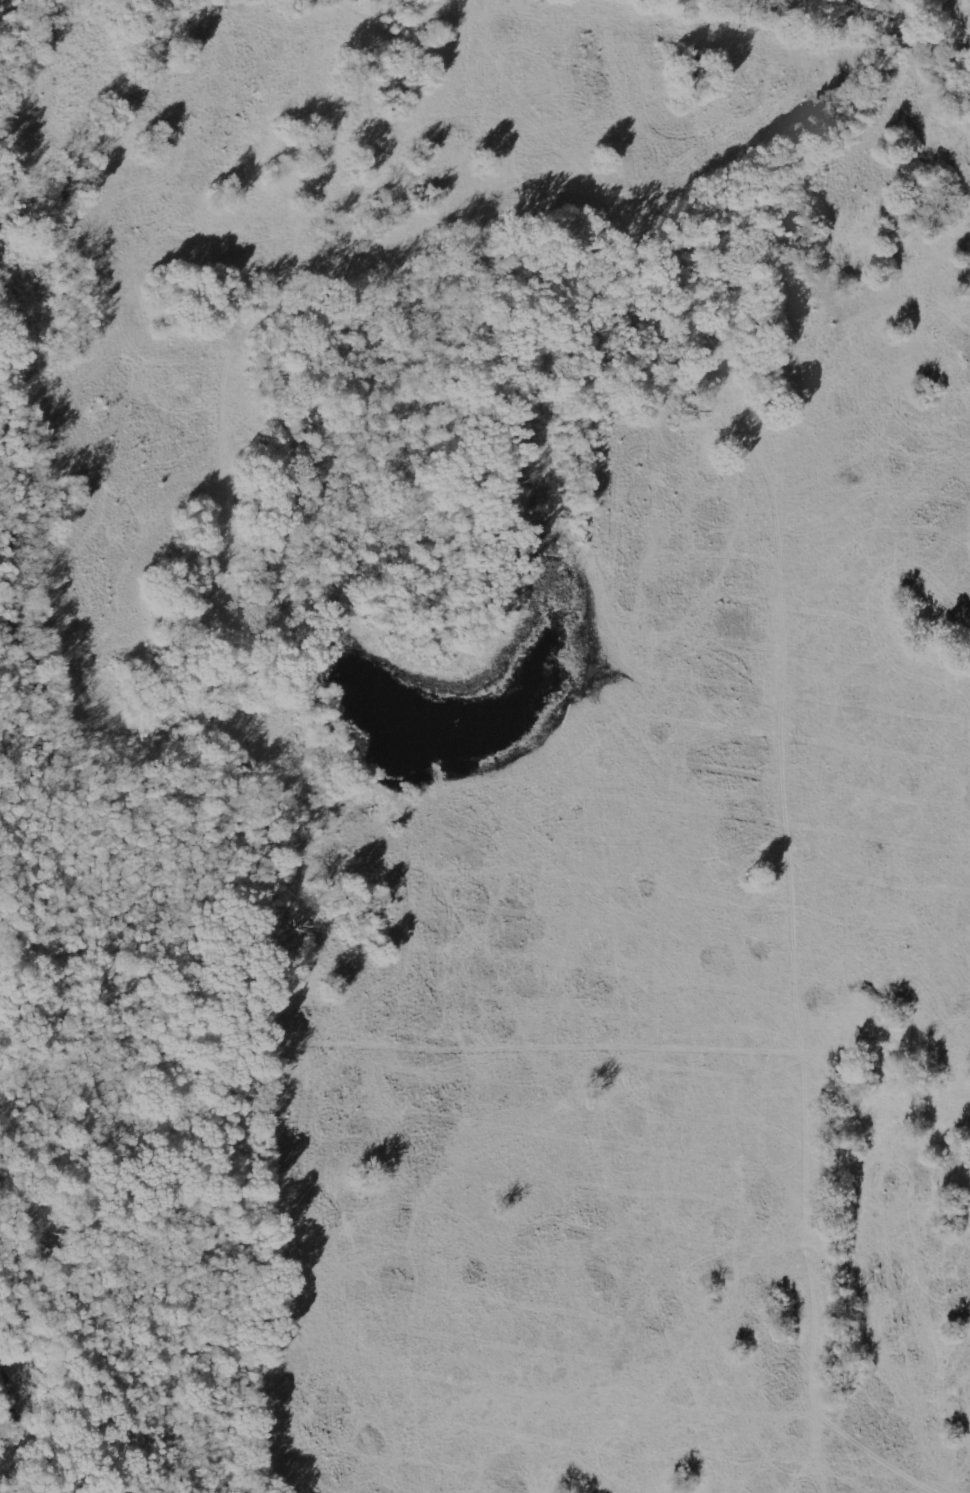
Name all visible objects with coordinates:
road: (849, 23)

